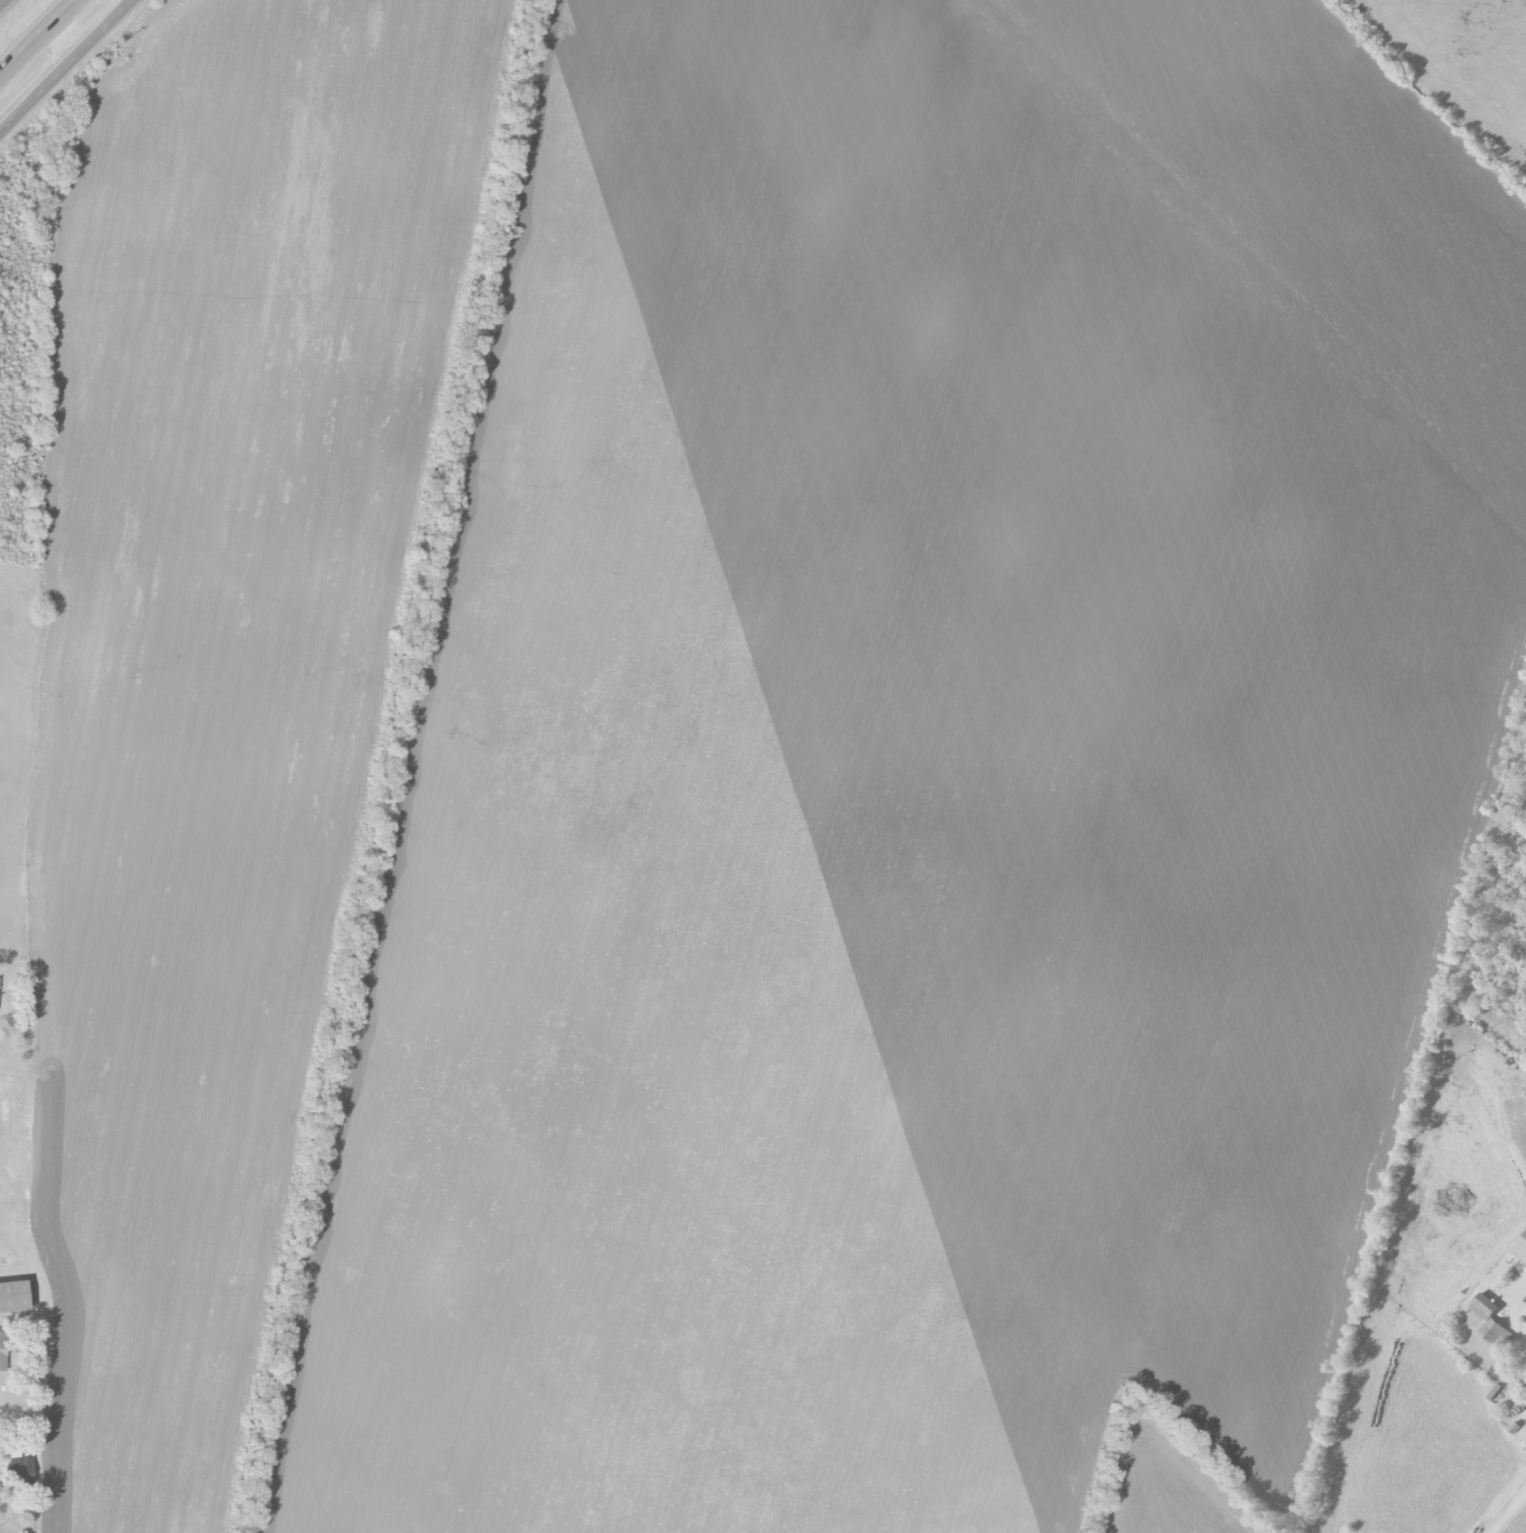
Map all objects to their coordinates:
road: (1, 1)
road: (35, 35)
road: (67, 69)
building: (1520, 1248)
building: (13, 1297)
building: (1486, 1317)
road: (1514, 1318)
road: (1512, 1516)

